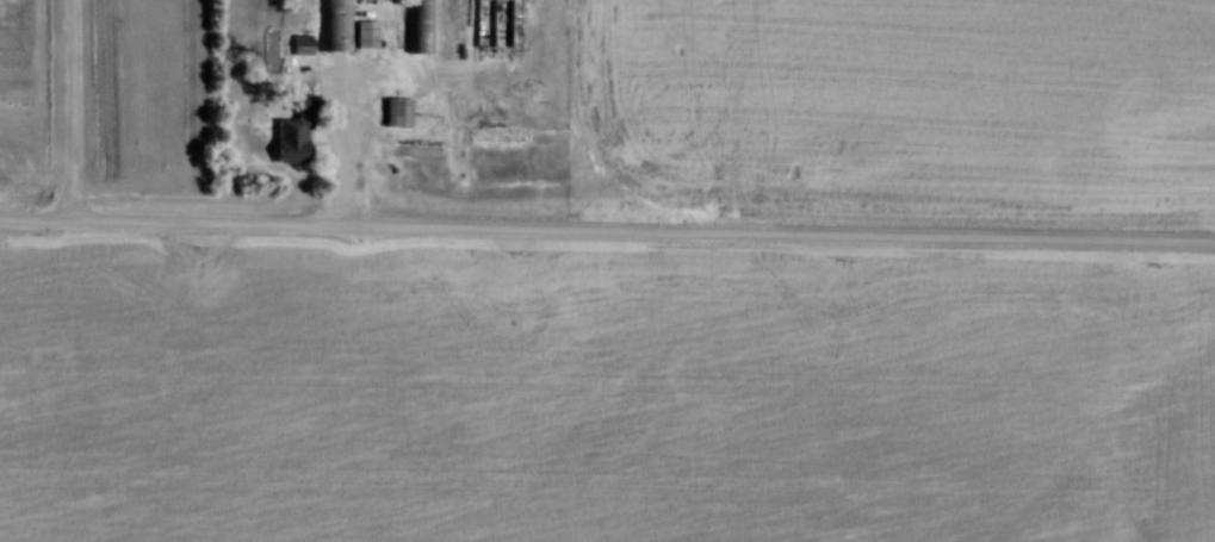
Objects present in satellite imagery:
building: (336, 24)
building: (421, 25)
building: (366, 33)
building: (302, 42)
crop: (95, 92)
crop: (920, 102)
building: (397, 110)
road: (74, 111)
building: (292, 138)
road: (347, 145)
road: (607, 226)
crop: (600, 394)

